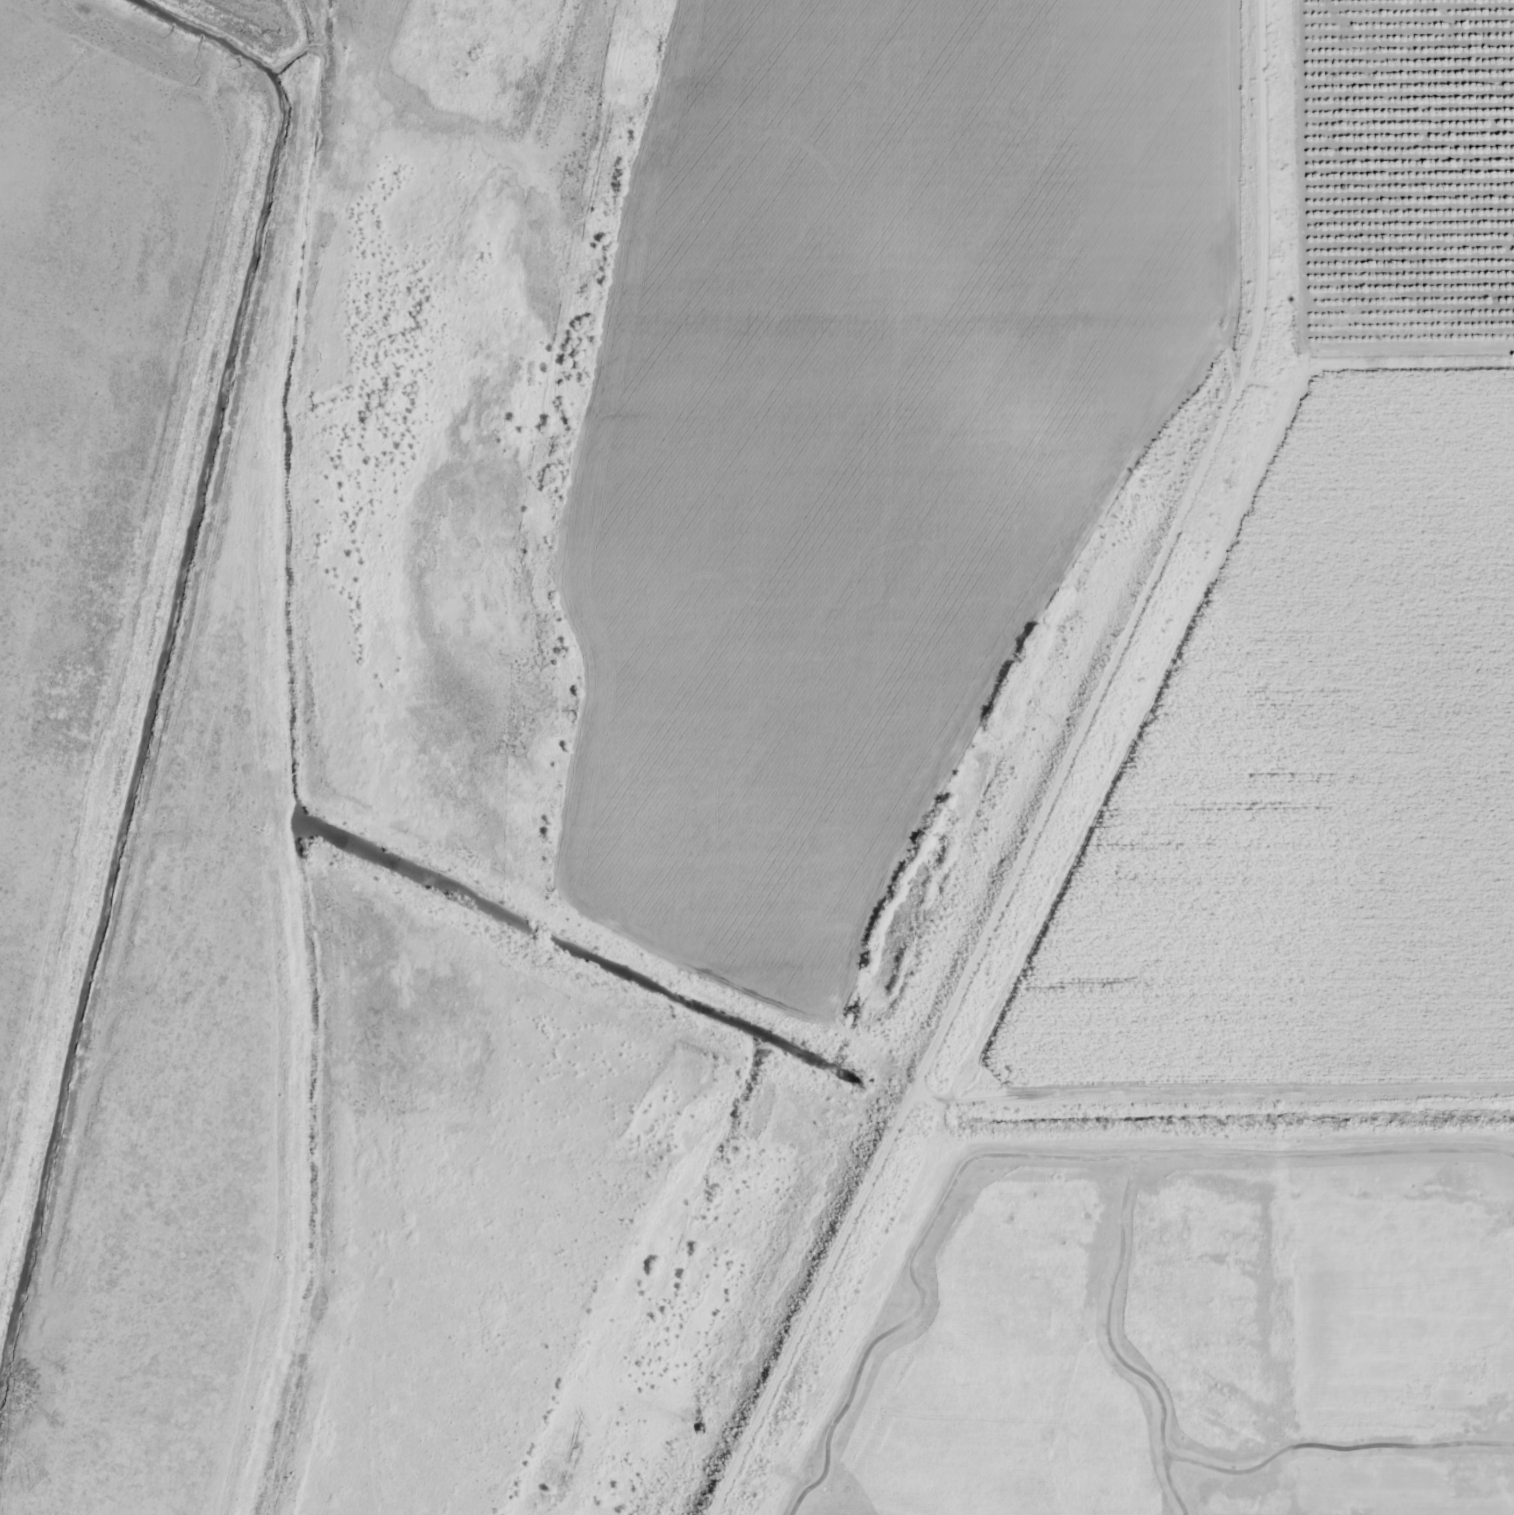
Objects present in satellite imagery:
road: (1081, 774)

